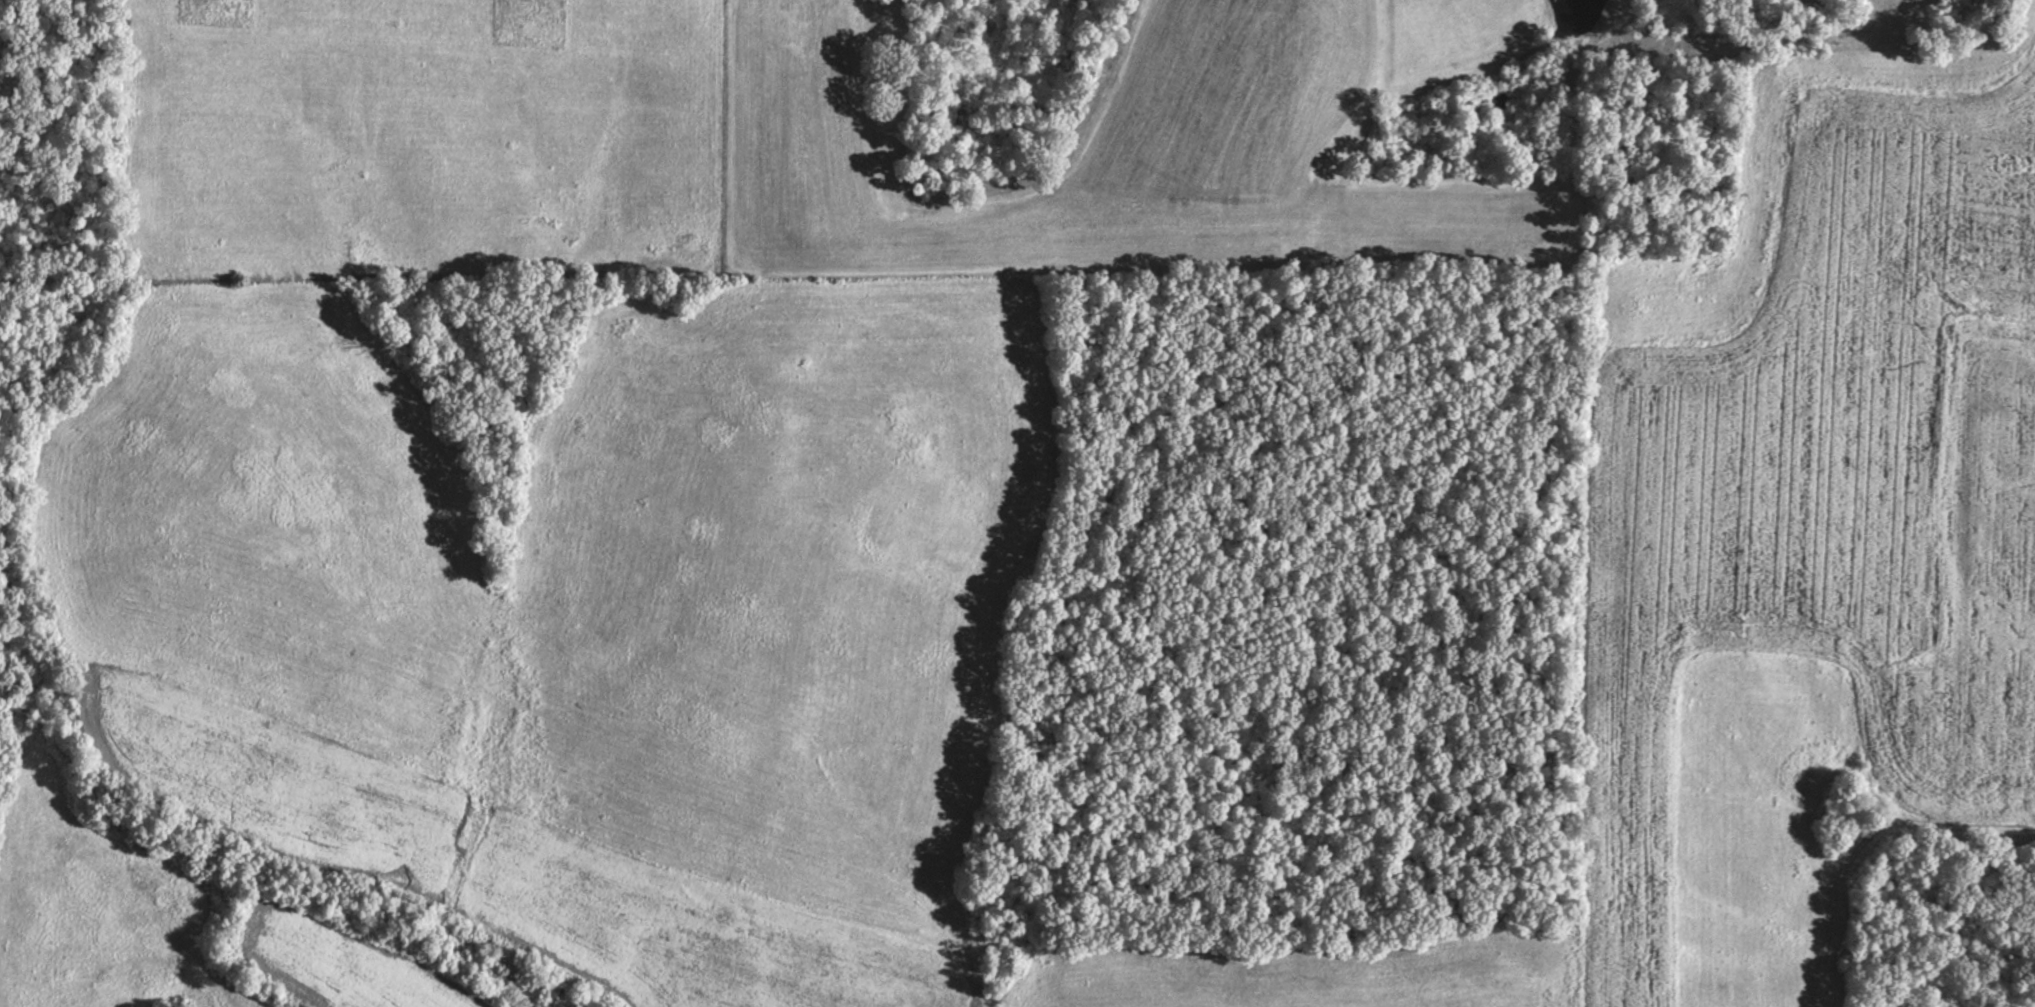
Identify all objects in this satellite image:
road: (1844, 368)

